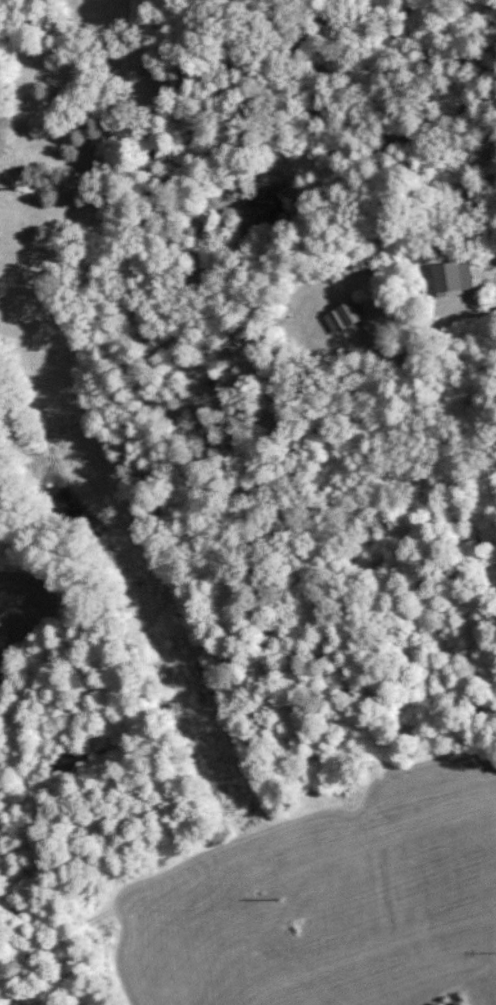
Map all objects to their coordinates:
building: (268, 204)
building: (341, 315)

